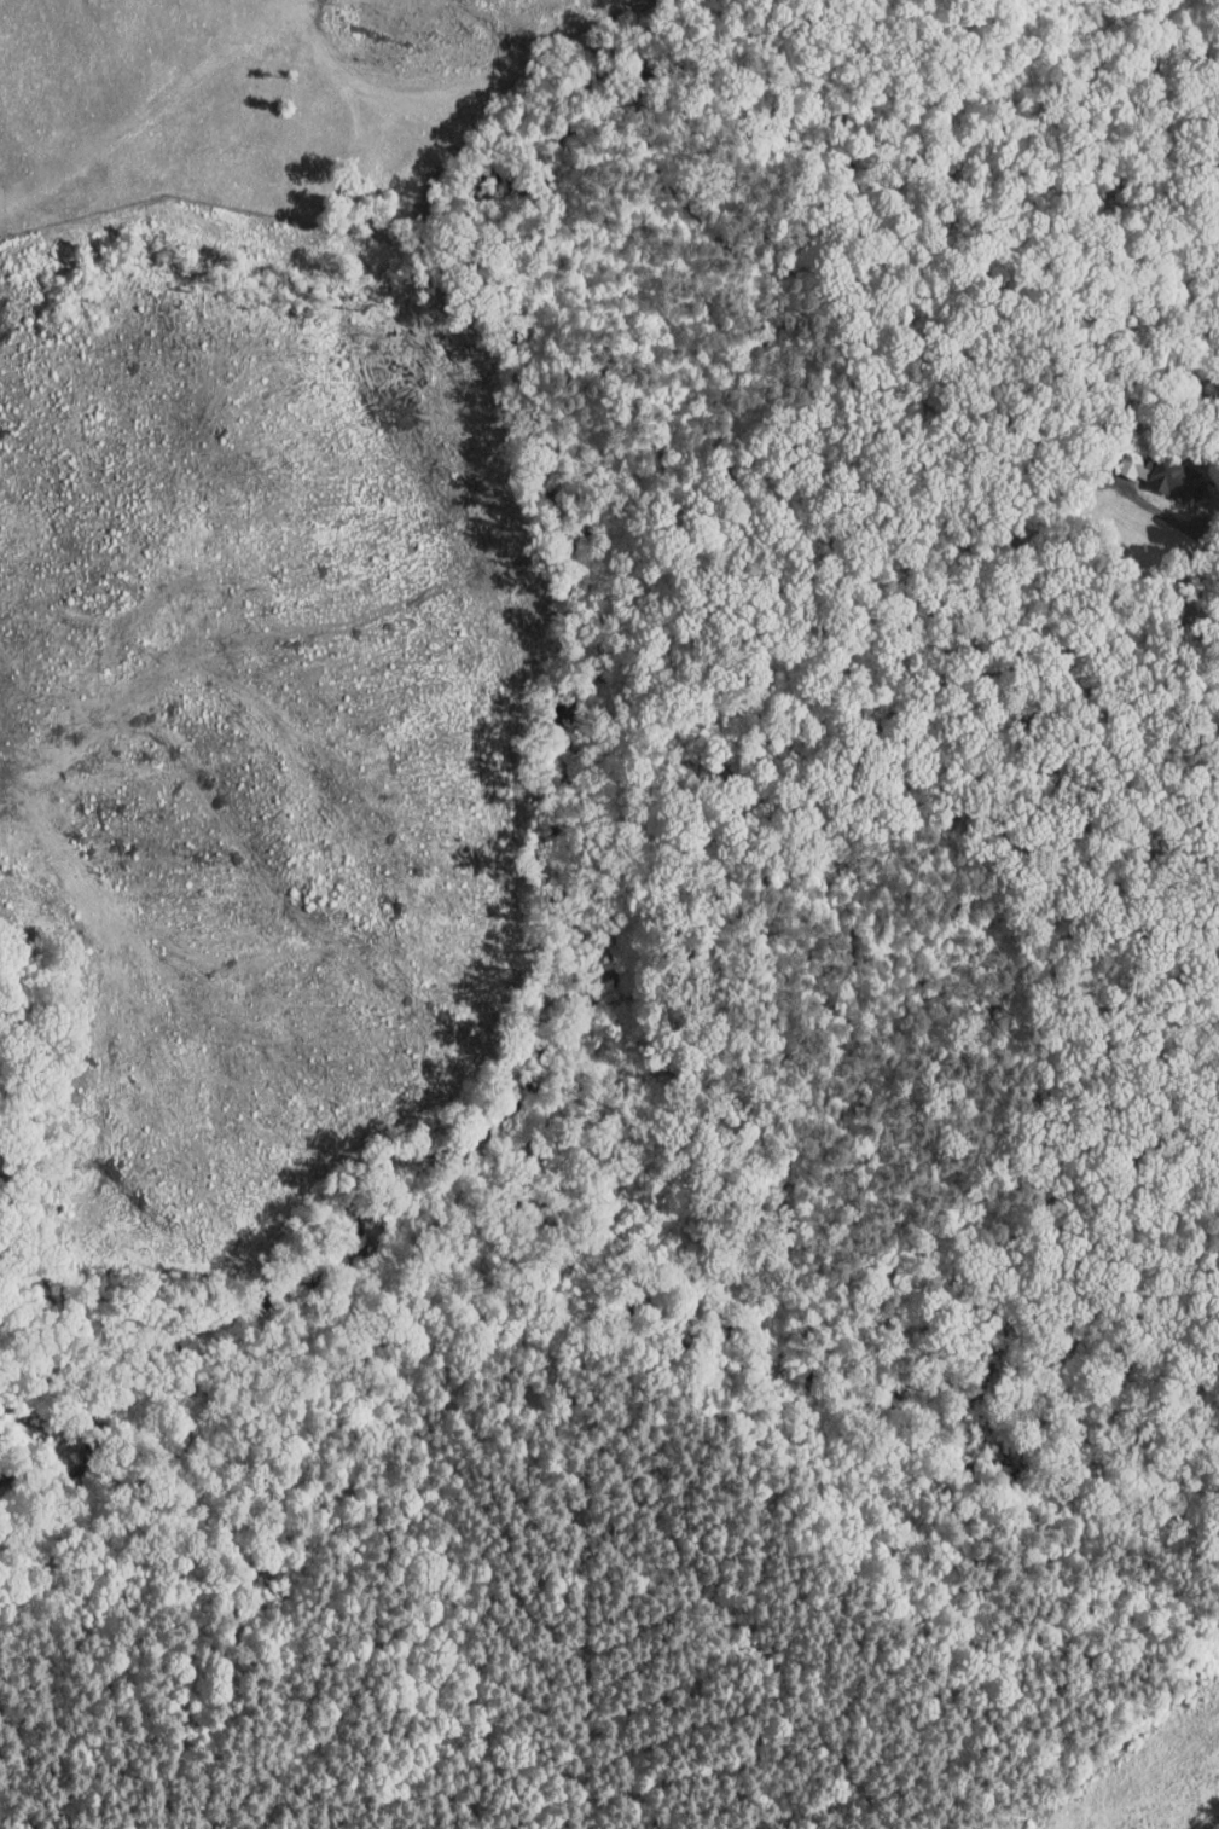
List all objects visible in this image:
building: (1145, 466)
road: (1206, 542)

